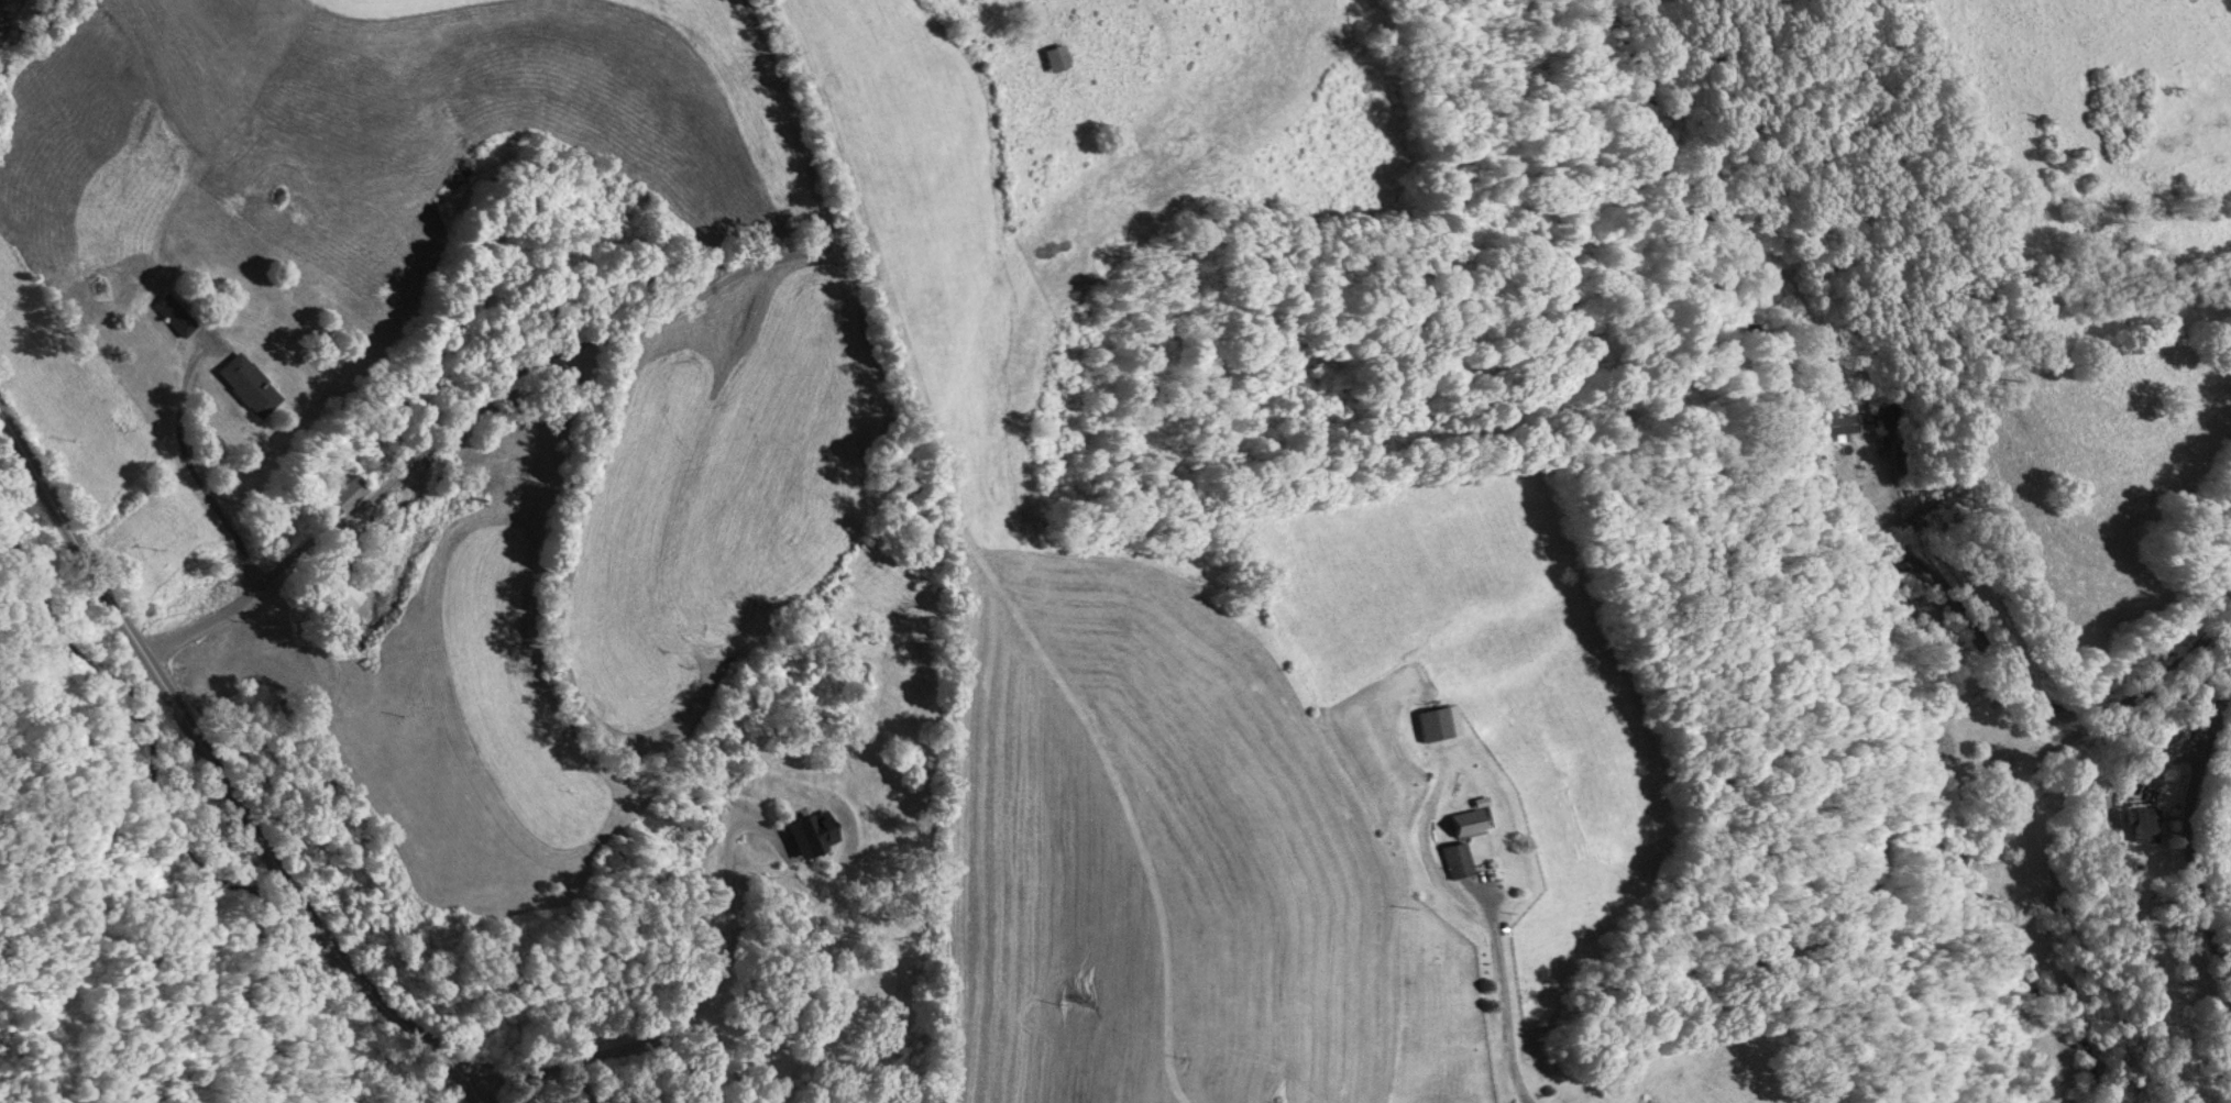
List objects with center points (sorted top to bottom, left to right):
building: (1054, 56)
building: (173, 313)
building: (245, 384)
building: (1888, 410)
building: (1845, 421)
building: (342, 497)
building: (340, 589)
road: (1868, 600)
building: (1438, 719)
road: (218, 772)
building: (1466, 823)
building: (2140, 823)
building: (809, 832)
road: (2195, 845)
building: (1457, 860)
road: (1504, 999)
building: (2229, 1085)

